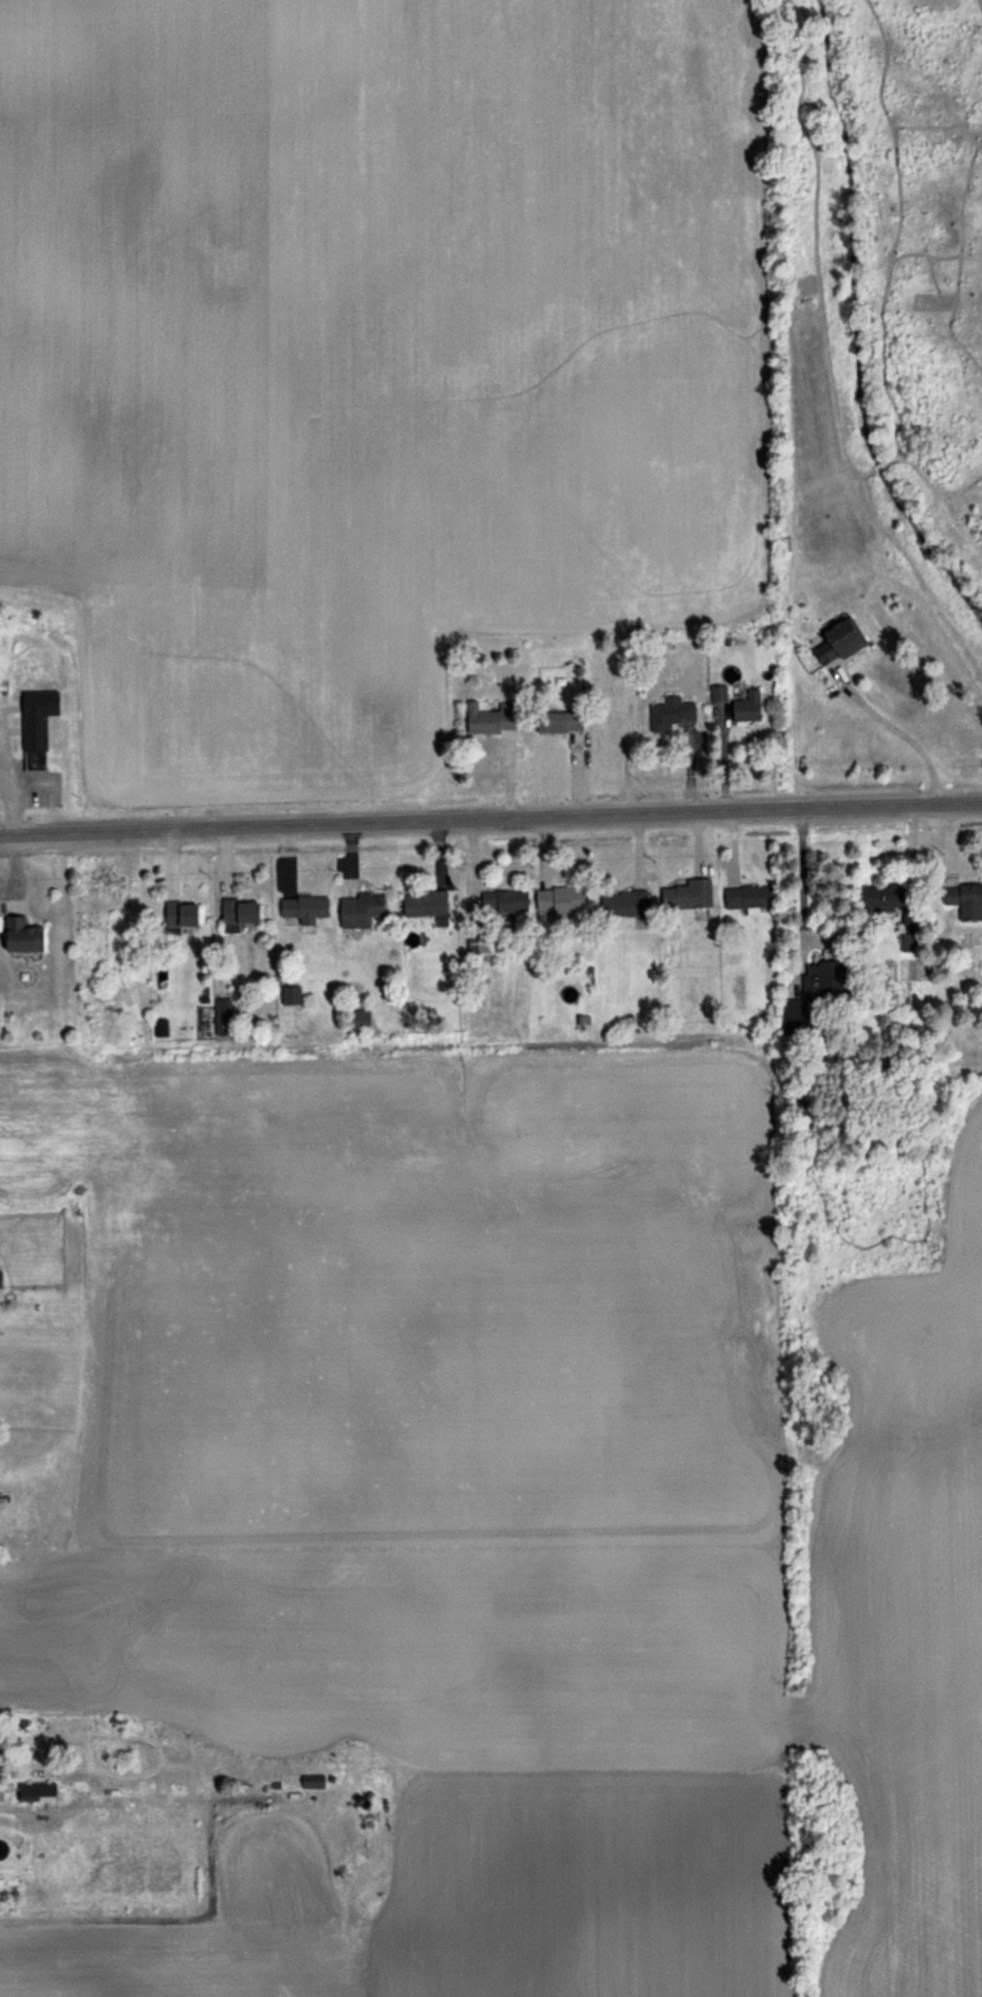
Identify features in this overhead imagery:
building: (839, 639)
building: (718, 692)
building: (747, 706)
building: (671, 713)
building: (491, 718)
building: (560, 721)
building: (37, 727)
road: (899, 733)
road: (11, 804)
road: (490, 815)
road: (803, 880)
building: (688, 894)
building: (748, 897)
building: (560, 899)
building: (965, 899)
building: (506, 900)
building: (888, 900)
building: (426, 903)
building: (624, 903)
building: (305, 907)
building: (361, 910)
building: (239, 913)
building: (180, 916)
building: (507, 919)
building: (23, 935)
building: (908, 941)
building: (477, 947)
building: (815, 990)
building: (359, 1019)
building: (0, 1278)
road: (166, 1919)

